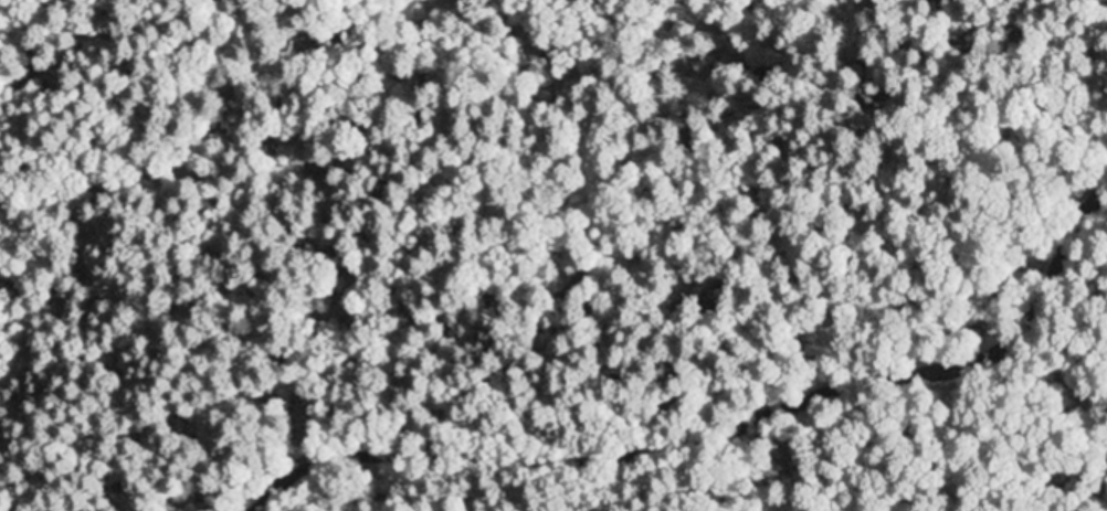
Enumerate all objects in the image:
road: (723, 432)

